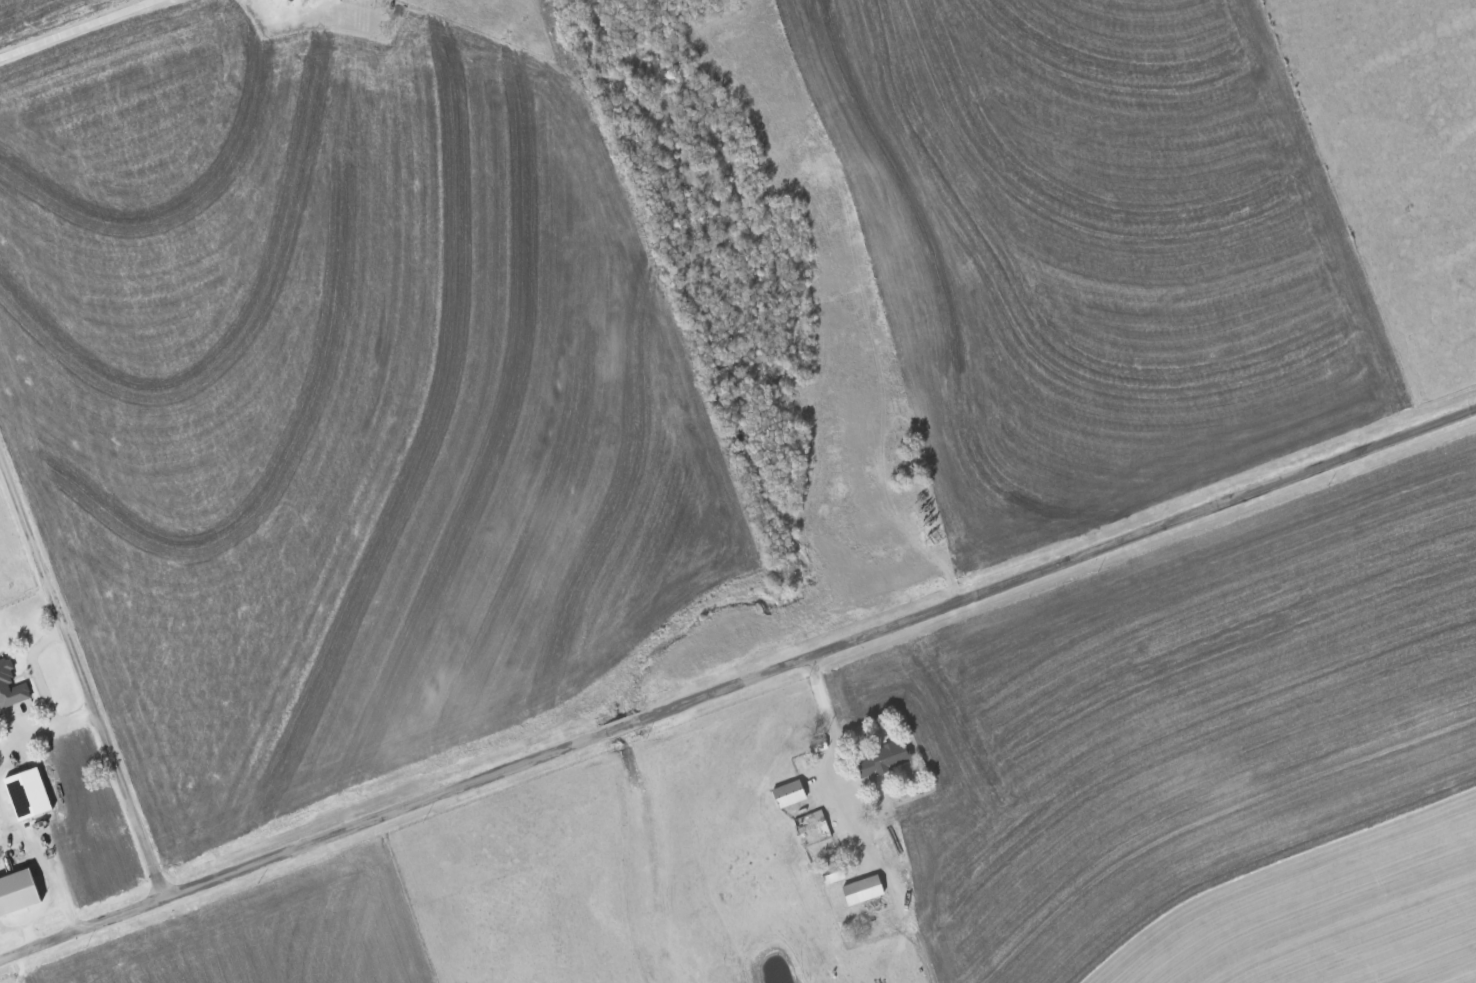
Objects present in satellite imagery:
road: (69, 26)
road: (82, 674)
road: (738, 685)
building: (11, 687)
road: (41, 689)
road: (827, 717)
road: (20, 737)
building: (883, 759)
building: (27, 793)
building: (789, 794)
road: (31, 847)
building: (833, 873)
building: (862, 889)
road: (45, 906)

